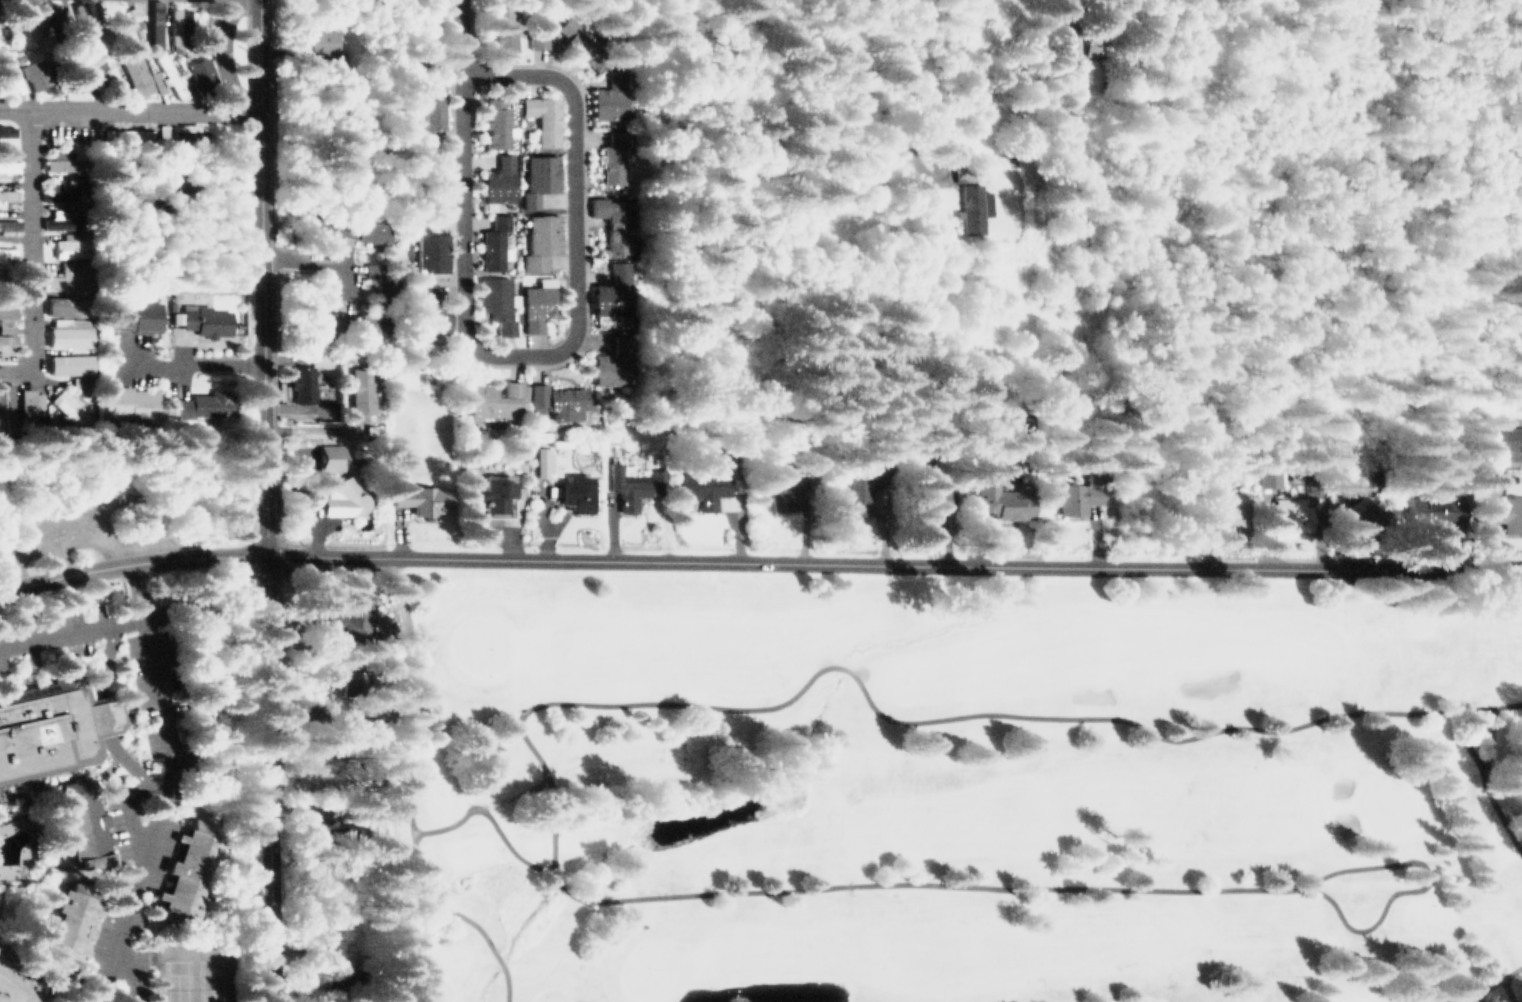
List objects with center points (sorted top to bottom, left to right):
building: (87, 23)
building: (180, 23)
building: (29, 27)
building: (123, 28)
building: (499, 29)
road: (462, 37)
building: (319, 39)
building: (536, 39)
building: (1083, 40)
building: (1109, 44)
building: (580, 45)
road: (223, 54)
building: (102, 72)
building: (33, 73)
building: (133, 73)
building: (202, 73)
building: (173, 79)
building: (156, 80)
building: (76, 83)
building: (611, 95)
road: (128, 108)
building: (431, 109)
road: (909, 112)
building: (543, 118)
building: (495, 120)
building: (5, 129)
building: (190, 134)
building: (613, 154)
building: (57, 158)
building: (7, 162)
building: (430, 175)
building: (540, 177)
building: (497, 181)
building: (66, 189)
building: (8, 191)
building: (969, 204)
building: (64, 221)
building: (612, 221)
building: (8, 224)
building: (346, 227)
building: (539, 240)
building: (494, 242)
building: (72, 246)
building: (428, 246)
road: (31, 249)
building: (6, 250)
building: (369, 266)
building: (69, 273)
road: (261, 277)
building: (387, 289)
building: (613, 292)
building: (497, 302)
building: (540, 305)
building: (7, 307)
building: (60, 307)
building: (427, 308)
building: (131, 314)
building: (203, 318)
building: (343, 321)
building: (5, 327)
building: (69, 338)
building: (10, 341)
road: (489, 349)
building: (613, 362)
road: (196, 364)
building: (69, 365)
building: (82, 380)
building: (307, 382)
building: (359, 393)
building: (495, 398)
building: (558, 398)
building: (127, 401)
building: (203, 402)
building: (25, 403)
building: (68, 405)
building: (3, 407)
building: (1012, 425)
building: (1506, 439)
building: (327, 458)
building: (541, 459)
building: (1270, 475)
building: (633, 481)
building: (784, 482)
building: (703, 488)
building: (857, 490)
building: (493, 492)
building: (572, 492)
building: (346, 494)
building: (414, 494)
building: (1000, 496)
building: (1079, 496)
building: (934, 498)
building: (1225, 508)
building: (1432, 512)
building: (1504, 512)
building: (1291, 515)
building: (1363, 517)
road: (891, 559)
road: (129, 563)
building: (346, 611)
road: (70, 632)
building: (328, 671)
building: (350, 673)
building: (43, 727)
road: (265, 778)
road: (175, 784)
park: (943, 793)
building: (82, 817)
building: (345, 825)
building: (192, 871)
building: (63, 927)
park: (195, 972)
building: (335, 975)
building: (14, 988)

